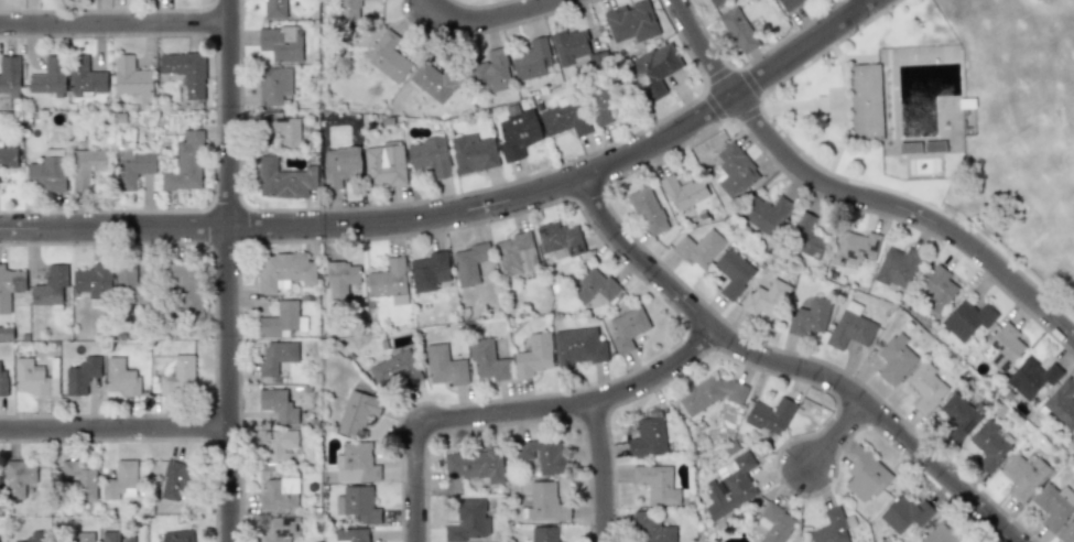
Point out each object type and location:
building: (1037, 0)
building: (715, 1)
building: (790, 3)
building: (273, 9)
building: (349, 10)
road: (488, 19)
building: (631, 22)
road: (115, 25)
building: (738, 30)
building: (281, 42)
building: (569, 45)
building: (387, 55)
building: (532, 59)
building: (654, 69)
building: (186, 72)
building: (491, 72)
building: (9, 75)
building: (50, 76)
building: (86, 77)
building: (131, 77)
building: (435, 82)
building: (274, 85)
building: (865, 101)
building: (600, 107)
building: (564, 117)
park: (946, 124)
building: (281, 127)
building: (517, 133)
building: (473, 153)
building: (430, 155)
building: (8, 156)
building: (185, 164)
building: (384, 164)
building: (340, 165)
building: (87, 166)
building: (132, 167)
building: (735, 170)
building: (47, 173)
building: (283, 178)
building: (683, 192)
road: (850, 195)
road: (462, 209)
building: (648, 210)
building: (766, 214)
rooftop solar panel: (543, 229)
building: (806, 237)
building: (560, 241)
rooftop solar panel: (581, 247)
building: (699, 248)
building: (853, 248)
rooftop solar panel: (571, 249)
building: (516, 253)
building: (469, 263)
building: (897, 267)
road: (230, 270)
building: (283, 271)
building: (430, 271)
building: (733, 272)
building: (341, 279)
building: (90, 280)
building: (389, 281)
building: (131, 283)
building: (10, 285)
building: (52, 286)
building: (594, 286)
building: (186, 289)
building: (936, 289)
building: (766, 299)
building: (810, 316)
building: (967, 318)
building: (282, 321)
building: (850, 326)
building: (628, 327)
building: (6, 333)
rooftop solar panel: (995, 342)
rooftop solar panel: (998, 344)
rooftop solar panel: (1002, 345)
building: (579, 346)
building: (1005, 347)
building: (534, 355)
rooftop solar panel: (1000, 355)
building: (276, 357)
building: (896, 358)
building: (487, 359)
rooftop solar panel: (1004, 364)
building: (444, 366)
road: (791, 366)
building: (395, 369)
building: (82, 375)
building: (178, 376)
building: (121, 377)
building: (1031, 377)
building: (33, 378)
building: (3, 382)
building: (925, 387)
building: (709, 393)
building: (1062, 403)
building: (278, 404)
building: (358, 411)
road: (519, 414)
building: (770, 415)
building: (957, 416)
road: (116, 430)
road: (838, 435)
building: (648, 437)
building: (276, 447)
building: (542, 454)
building: (356, 463)
building: (475, 464)
road: (600, 473)
building: (865, 475)
building: (1023, 475)
building: (19, 478)
building: (80, 479)
building: (175, 479)
building: (120, 480)
building: (657, 484)
building: (730, 486)
building: (280, 492)
building: (543, 502)
building: (357, 503)
building: (1053, 505)
building: (905, 513)
building: (468, 520)
building: (774, 523)
building: (833, 527)
building: (651, 528)
building: (280, 529)
building: (544, 533)
building: (1067, 533)
building: (352, 534)
building: (941, 534)
building: (85, 536)
building: (116, 536)
building: (175, 536)
building: (30, 540)

